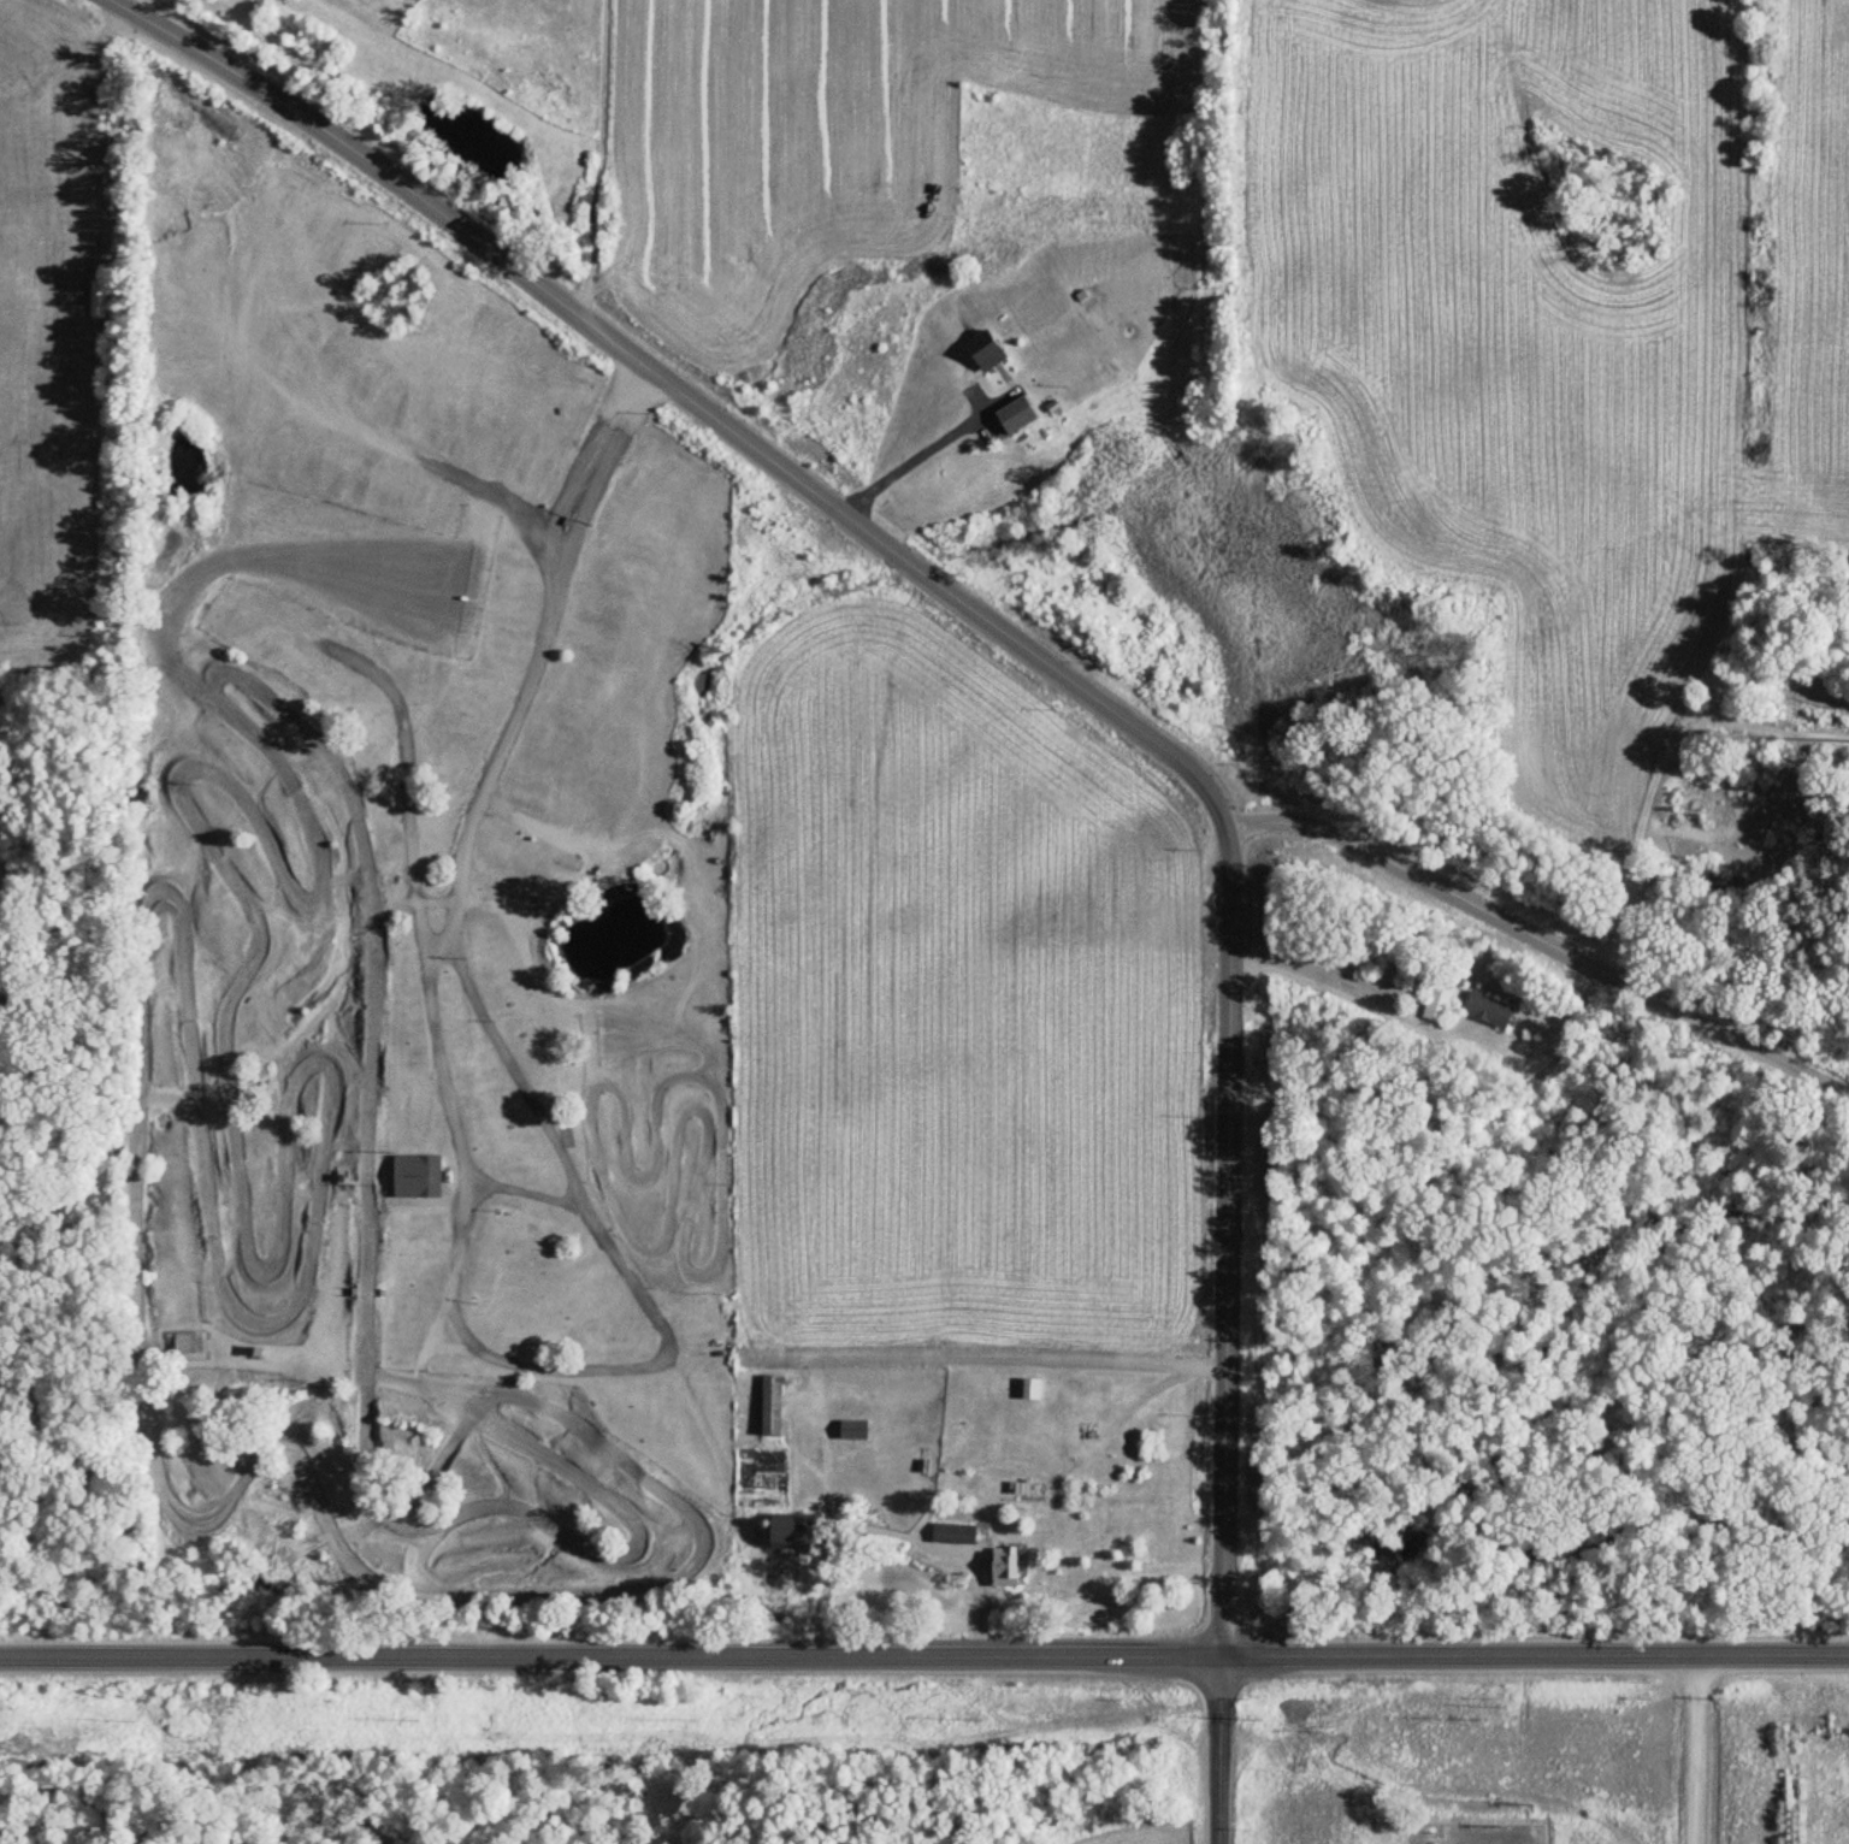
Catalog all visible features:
building: (982, 353)
road: (673, 383)
building: (1014, 416)
road: (906, 462)
raceway: (150, 602)
building: (1798, 698)
road: (507, 910)
road: (1536, 932)
building: (1434, 1006)
building: (1484, 1012)
raceway: (689, 1065)
raceway: (136, 1125)
building: (414, 1174)
parking lot: (506, 1174)
building: (339, 1175)
road: (525, 1196)
raceway: (667, 1200)
road: (1223, 1221)
road: (645, 1308)
road: (431, 1336)
building: (182, 1344)
road: (1048, 1352)
building: (768, 1406)
building: (850, 1430)
building: (1086, 1431)
building: (793, 1531)
building: (950, 1535)
building: (1003, 1567)
road: (608, 1656)
road: (1532, 1656)
road: (1216, 1750)
road: (1689, 1750)
power substation: (1482, 1834)

